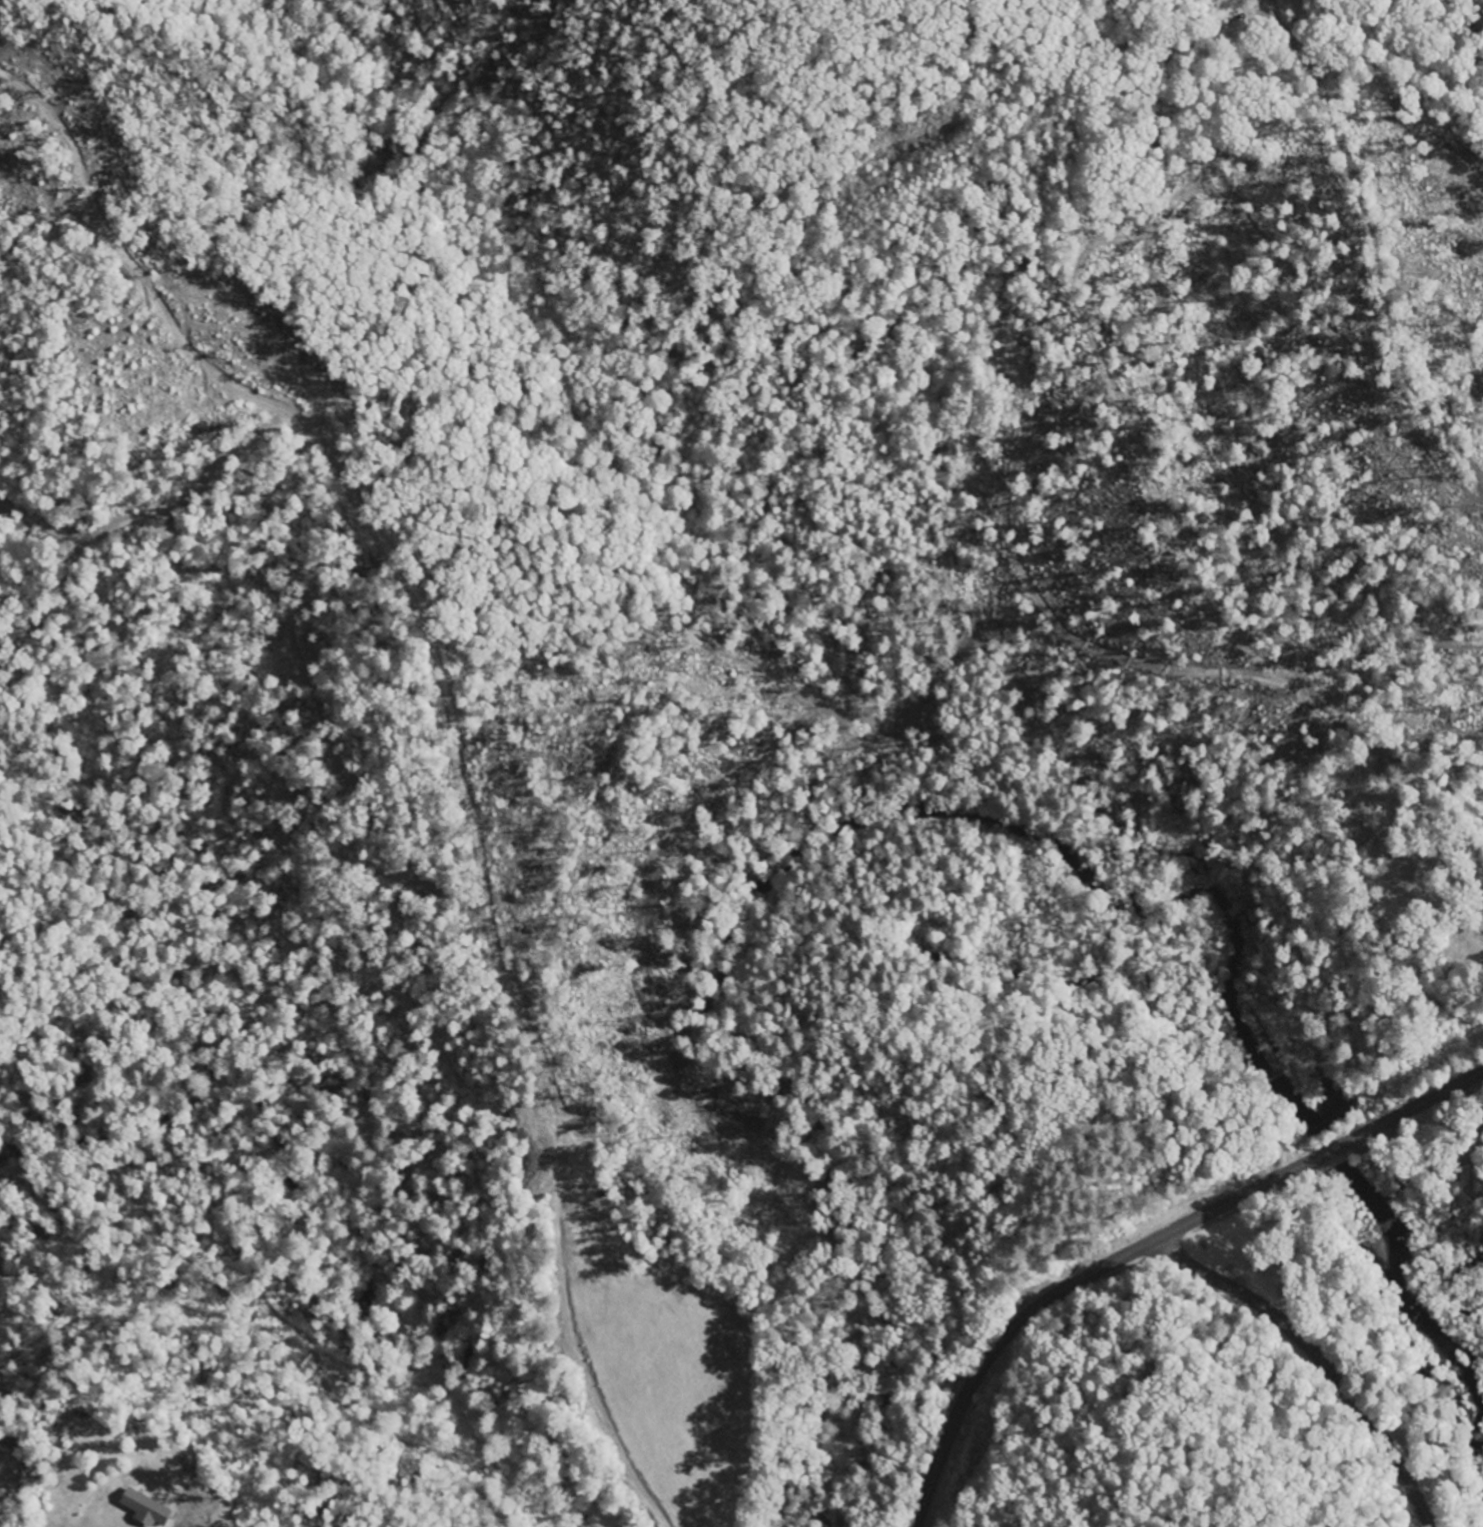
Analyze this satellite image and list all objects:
road: (1470, 19)
road: (1379, 283)
road: (1426, 778)
road: (1466, 809)
park: (1413, 879)
road: (1143, 1245)
road: (1317, 1356)
building: (143, 1508)

